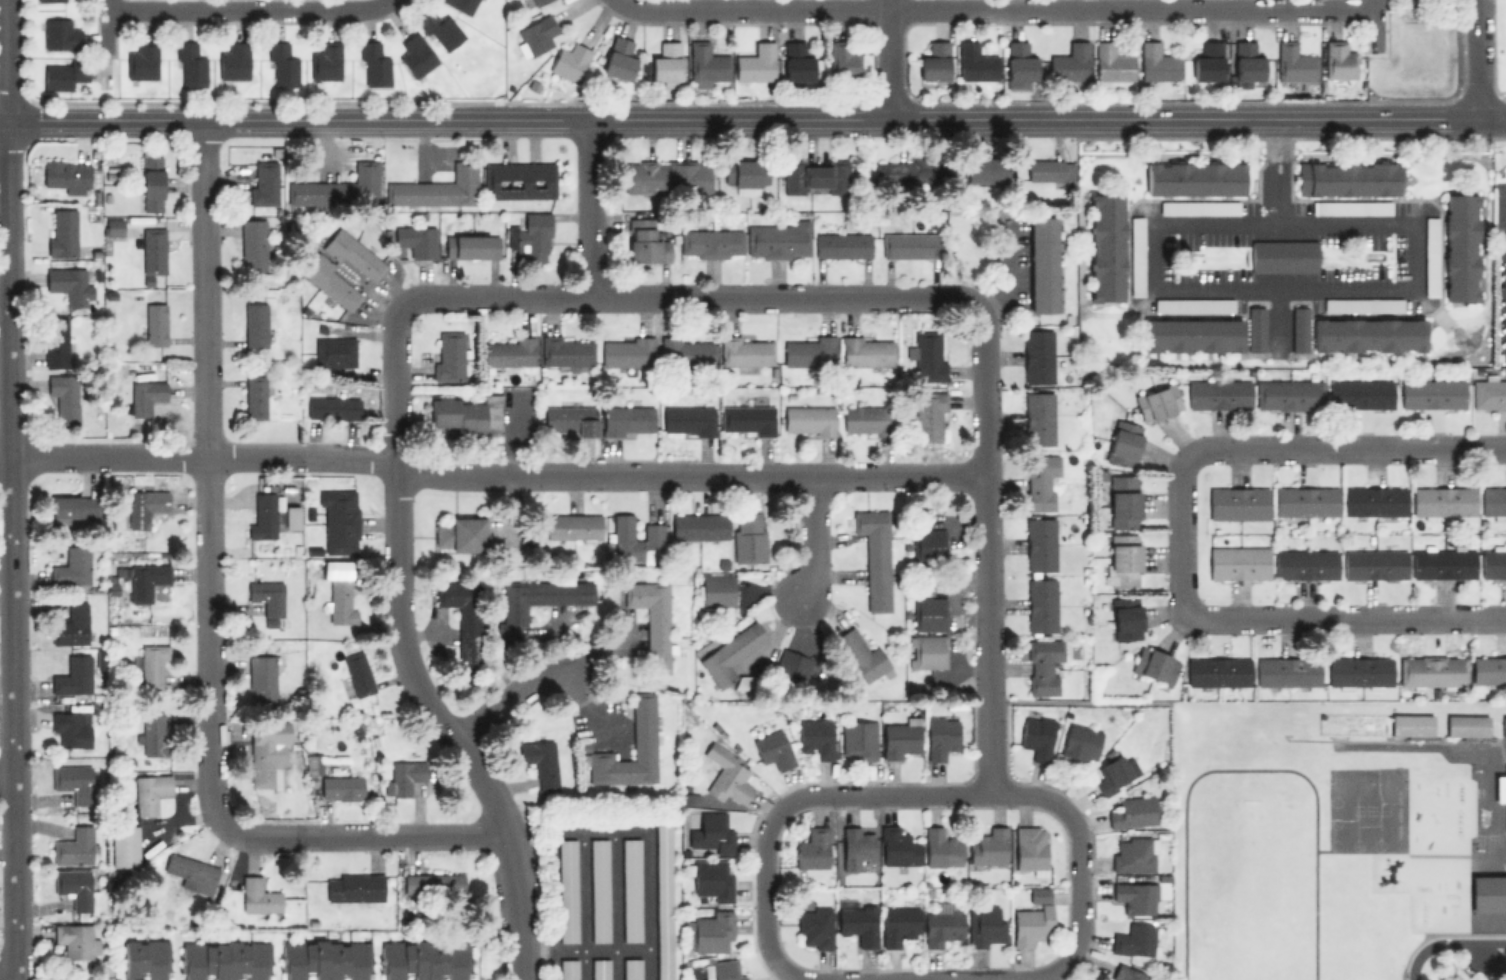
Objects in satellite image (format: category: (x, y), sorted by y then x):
building: (50, 0)
building: (532, 2)
building: (459, 4)
road: (754, 8)
road: (1129, 9)
road: (245, 10)
building: (439, 29)
building: (60, 34)
building: (536, 34)
building: (415, 54)
building: (618, 58)
building: (841, 59)
road: (887, 59)
building: (1338, 59)
road: (1477, 59)
road: (4, 60)
building: (142, 60)
building: (234, 61)
building: (325, 61)
building: (796, 61)
building: (934, 61)
building: (1207, 61)
building: (1247, 61)
building: (569, 62)
building: (975, 62)
building: (1069, 62)
building: (1112, 62)
building: (1157, 62)
building: (1293, 62)
building: (667, 63)
building: (755, 63)
building: (1019, 63)
building: (281, 64)
building: (372, 64)
building: (706, 64)
building: (190, 65)
building: (62, 74)
road: (537, 119)
road: (1276, 119)
road: (1491, 119)
road: (1275, 139)
building: (1050, 169)
building: (908, 170)
building: (983, 170)
building: (744, 173)
building: (815, 175)
building: (66, 176)
building: (667, 176)
building: (1195, 178)
building: (1347, 178)
building: (519, 180)
building: (264, 182)
building: (151, 183)
building: (339, 188)
building: (438, 188)
building: (1350, 206)
road: (589, 207)
building: (1198, 207)
building: (113, 227)
building: (62, 232)
building: (530, 237)
building: (416, 240)
building: (778, 240)
building: (644, 241)
building: (711, 243)
building: (253, 244)
building: (841, 244)
building: (1430, 244)
building: (909, 245)
building: (471, 246)
building: (1106, 247)
building: (1460, 247)
building: (153, 250)
building: (354, 254)
building: (1136, 255)
building: (1283, 256)
building: (1042, 264)
building: (332, 283)
building: (67, 284)
road: (1255, 284)
road: (686, 294)
building: (1193, 304)
building: (1355, 305)
building: (155, 324)
building: (255, 324)
building: (1255, 328)
building: (1299, 329)
building: (1192, 335)
building: (1368, 335)
building: (56, 341)
building: (866, 350)
building: (333, 351)
building: (628, 351)
building: (687, 351)
building: (745, 351)
building: (810, 351)
building: (509, 352)
building: (566, 353)
building: (928, 355)
building: (1037, 355)
building: (449, 357)
building: (1488, 393)
building: (1219, 394)
building: (1289, 394)
building: (1361, 394)
building: (1432, 394)
building: (64, 396)
building: (145, 396)
building: (255, 397)
building: (1157, 402)
building: (332, 407)
building: (468, 414)
building: (929, 415)
building: (1038, 418)
building: (628, 419)
building: (748, 419)
building: (866, 419)
building: (569, 420)
building: (688, 420)
building: (809, 420)
building: (1122, 442)
road: (1343, 446)
road: (492, 471)
road: (208, 473)
building: (1040, 481)
building: (1374, 500)
building: (1443, 500)
building: (1123, 501)
building: (1306, 501)
building: (1493, 501)
building: (1238, 502)
road: (987, 503)
building: (145, 506)
building: (73, 507)
building: (263, 515)
building: (291, 517)
building: (340, 520)
building: (573, 526)
building: (698, 526)
building: (460, 534)
building: (748, 536)
road: (1178, 537)
road: (814, 538)
building: (636, 539)
building: (1040, 544)
building: (928, 545)
road: (11, 550)
building: (874, 556)
building: (1123, 560)
building: (1238, 562)
building: (1443, 562)
building: (1493, 562)
building: (1305, 563)
building: (1374, 563)
building: (72, 566)
building: (146, 580)
road: (395, 585)
building: (716, 590)
building: (340, 596)
building: (541, 596)
building: (267, 600)
building: (1040, 604)
building: (928, 613)
road: (1345, 617)
building: (1125, 618)
building: (463, 620)
building: (652, 620)
building: (71, 624)
building: (928, 651)
building: (730, 653)
building: (861, 655)
building: (152, 664)
building: (1042, 665)
building: (1154, 665)
building: (791, 666)
building: (1488, 669)
building: (1218, 671)
building: (1287, 671)
building: (1359, 671)
building: (1432, 671)
building: (358, 673)
building: (72, 675)
building: (261, 679)
road: (508, 696)
road: (1081, 703)
road: (586, 706)
building: (643, 721)
building: (1410, 724)
building: (1466, 725)
building: (1503, 727)
building: (70, 728)
building: (152, 734)
building: (940, 736)
building: (1036, 736)
building: (814, 737)
building: (900, 739)
building: (858, 740)
building: (1080, 742)
road: (992, 748)
building: (772, 749)
building: (266, 752)
building: (540, 762)
building: (313, 764)
road: (1249, 769)
building: (1112, 773)
building: (726, 774)
building: (404, 776)
building: (73, 782)
road: (8, 785)
building: (341, 785)
building: (1500, 789)
road: (921, 794)
building: (1132, 811)
building: (136, 818)
road: (613, 831)
building: (710, 832)
road: (362, 836)
building: (897, 846)
building: (988, 846)
building: (75, 847)
building: (855, 847)
building: (941, 847)
building: (812, 848)
building: (1030, 848)
building: (1134, 853)
building: (191, 872)
building: (711, 879)
building: (433, 883)
road: (1077, 883)
road: (765, 884)
building: (354, 887)
building: (631, 888)
building: (74, 889)
park: (1251, 889)
building: (567, 890)
building: (600, 890)
building: (1488, 893)
building: (259, 896)
building: (1135, 896)
building: (663, 899)
road: (583, 905)
road: (615, 905)
road: (516, 907)
building: (1032, 917)
building: (858, 923)
building: (898, 924)
building: (941, 925)
building: (985, 925)
building: (814, 927)
building: (712, 931)
building: (1133, 939)
building: (77, 940)
road: (1446, 942)
road: (568, 950)
road: (616, 950)
building: (146, 958)
building: (224, 959)
building: (325, 959)
building: (424, 959)
road: (552, 965)
building: (568, 969)
building: (600, 969)
building: (632, 969)
building: (721, 970)
building: (1126, 973)
road: (788, 974)
road: (1, 979)
road: (999, 979)

